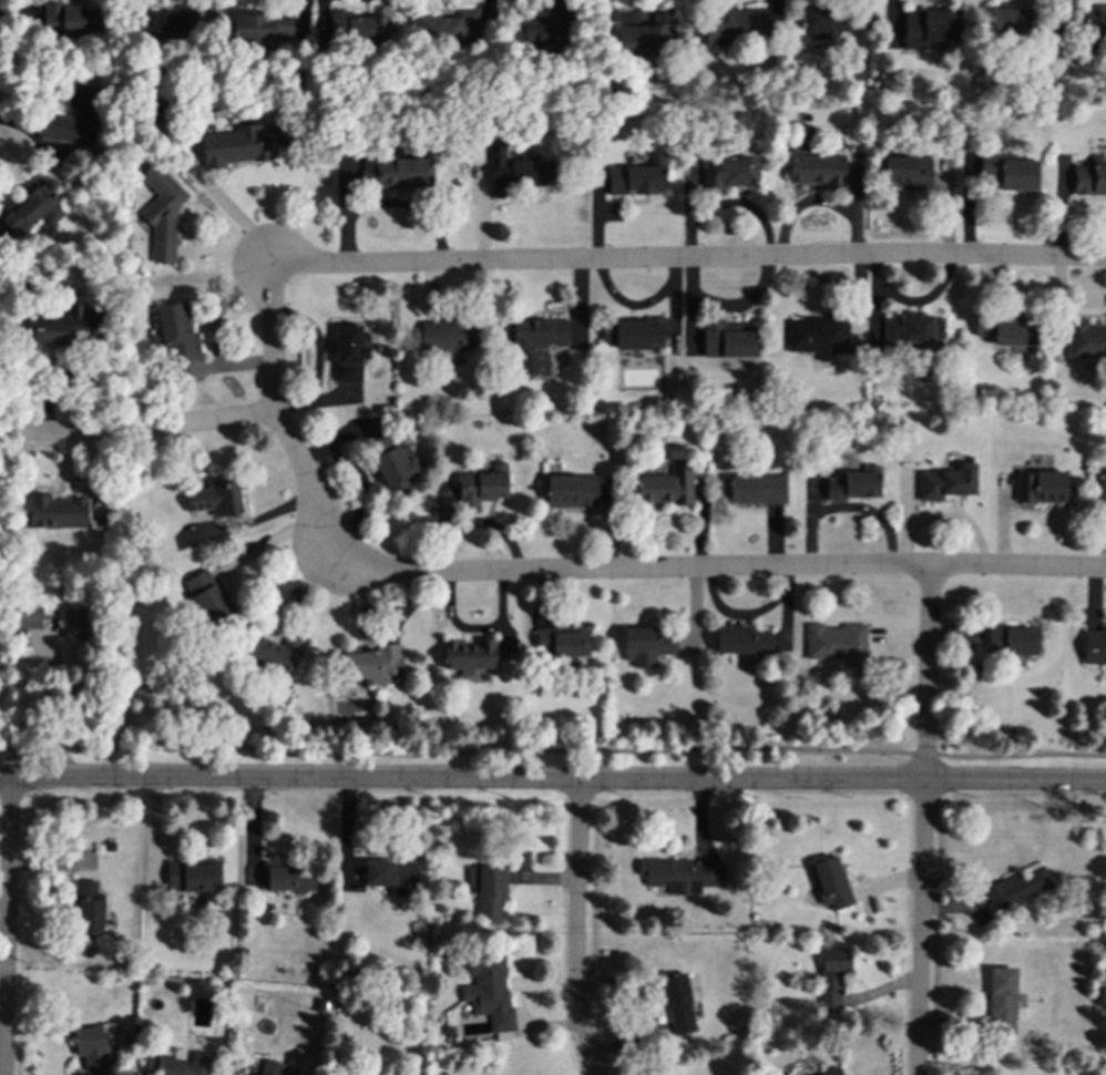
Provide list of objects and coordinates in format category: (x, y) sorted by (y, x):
building: (73, 19)
building: (1008, 20)
building: (1095, 20)
building: (158, 23)
building: (733, 23)
building: (827, 23)
building: (263, 27)
building: (359, 27)
building: (930, 27)
building: (450, 28)
building: (543, 29)
building: (647, 34)
building: (75, 116)
building: (242, 144)
building: (818, 170)
building: (516, 171)
building: (1001, 171)
building: (398, 172)
building: (728, 172)
building: (909, 172)
building: (638, 177)
building: (1090, 177)
building: (27, 208)
building: (162, 213)
road: (685, 259)
building: (55, 327)
building: (912, 329)
building: (1007, 330)
building: (175, 331)
building: (634, 334)
building: (817, 335)
building: (448, 337)
building: (1086, 339)
building: (535, 342)
building: (350, 351)
road: (279, 417)
road: (143, 429)
building: (393, 465)
building: (946, 482)
building: (854, 483)
building: (667, 484)
building: (1102, 484)
building: (481, 485)
building: (1040, 487)
building: (756, 489)
building: (570, 490)
building: (216, 498)
building: (52, 512)
road: (719, 569)
road: (305, 590)
building: (208, 597)
building: (29, 616)
building: (74, 623)
building: (741, 639)
building: (1012, 639)
building: (834, 642)
building: (561, 643)
building: (646, 645)
building: (1093, 646)
building: (276, 653)
building: (470, 654)
building: (371, 664)
road: (64, 706)
road: (552, 749)
road: (553, 781)
road: (924, 820)
building: (680, 874)
building: (391, 876)
building: (194, 877)
building: (288, 877)
building: (829, 882)
building: (1017, 888)
building: (488, 890)
building: (89, 908)
road: (6, 926)
road: (576, 929)
building: (832, 975)
building: (489, 990)
building: (1002, 1000)
building: (678, 1004)
building: (92, 1048)
building: (184, 1065)
building: (266, 1068)
building: (831, 1072)

